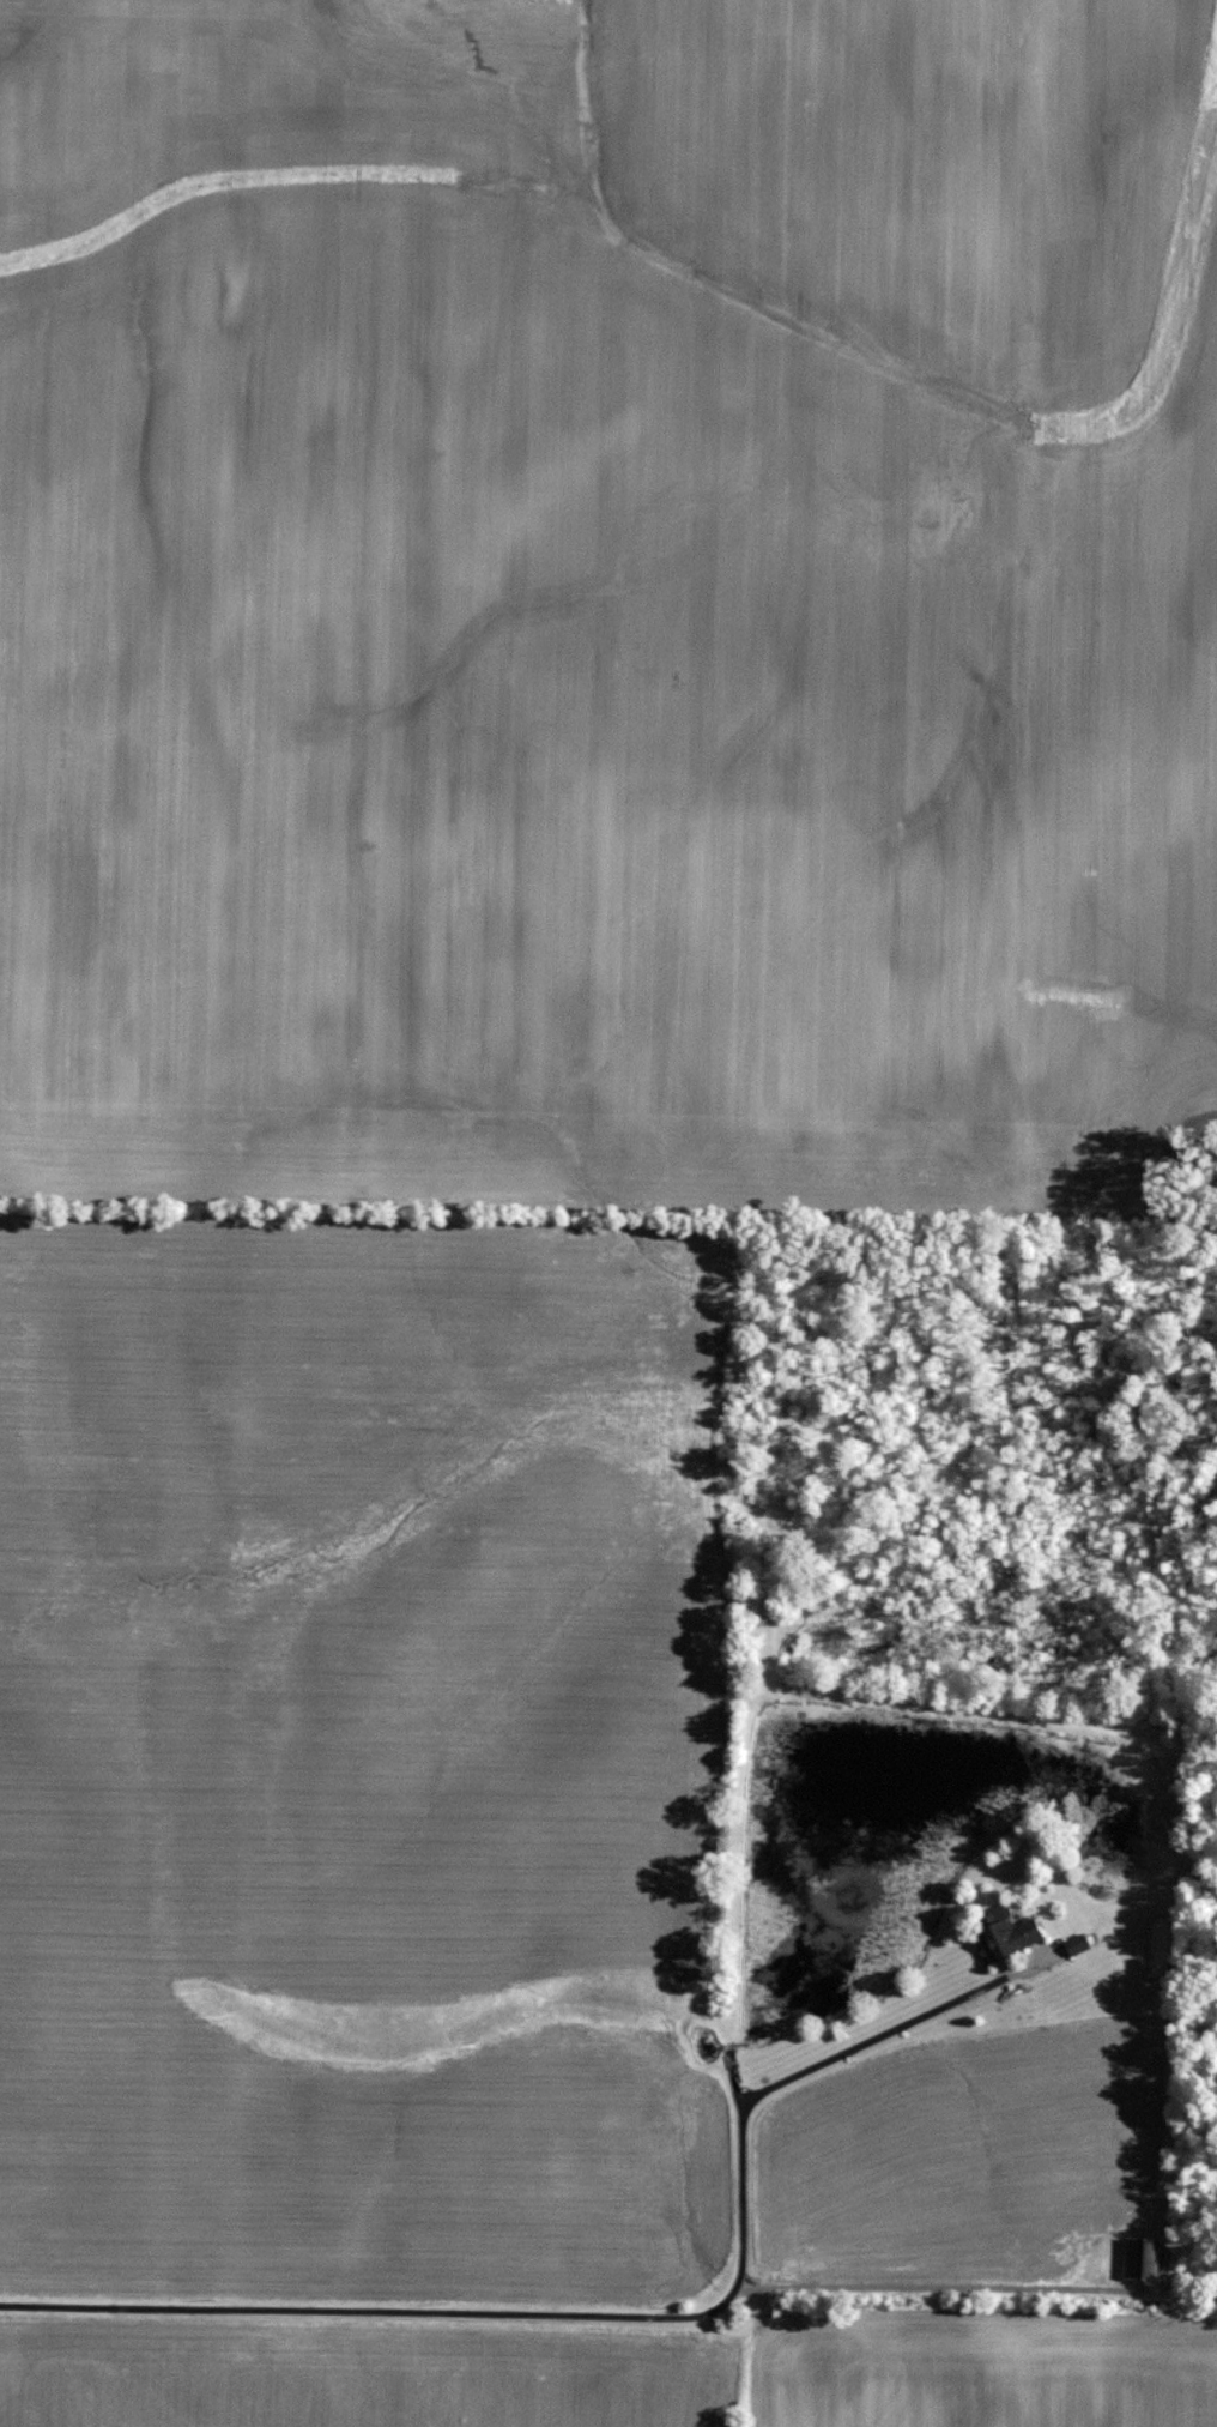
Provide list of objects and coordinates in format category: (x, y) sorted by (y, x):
road: (915, 2282)
road: (581, 2313)

